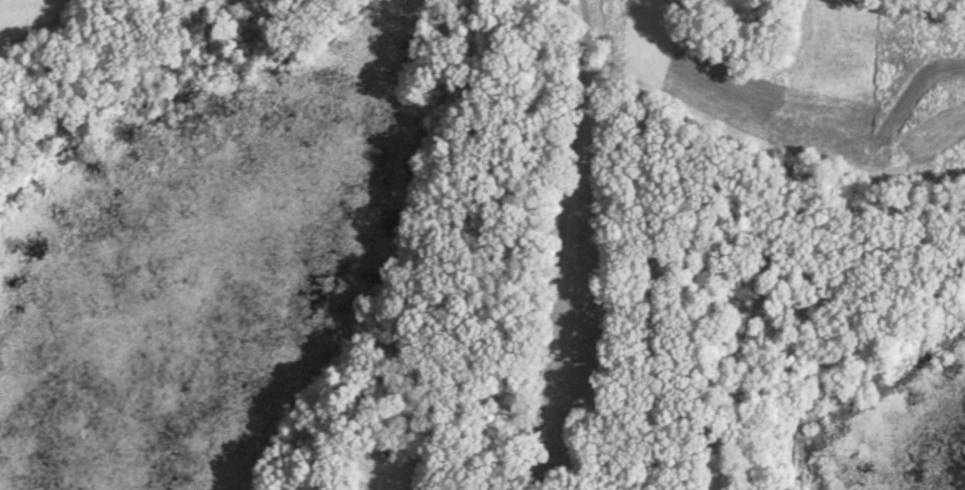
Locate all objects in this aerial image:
road: (573, 250)

